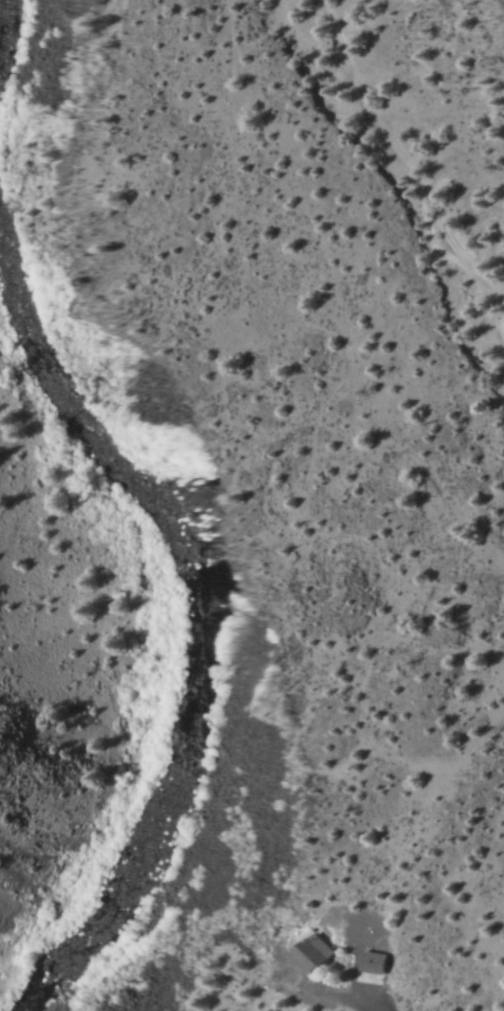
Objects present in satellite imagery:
road: (412, 164)
river: (191, 647)
building: (314, 953)
building: (373, 962)

